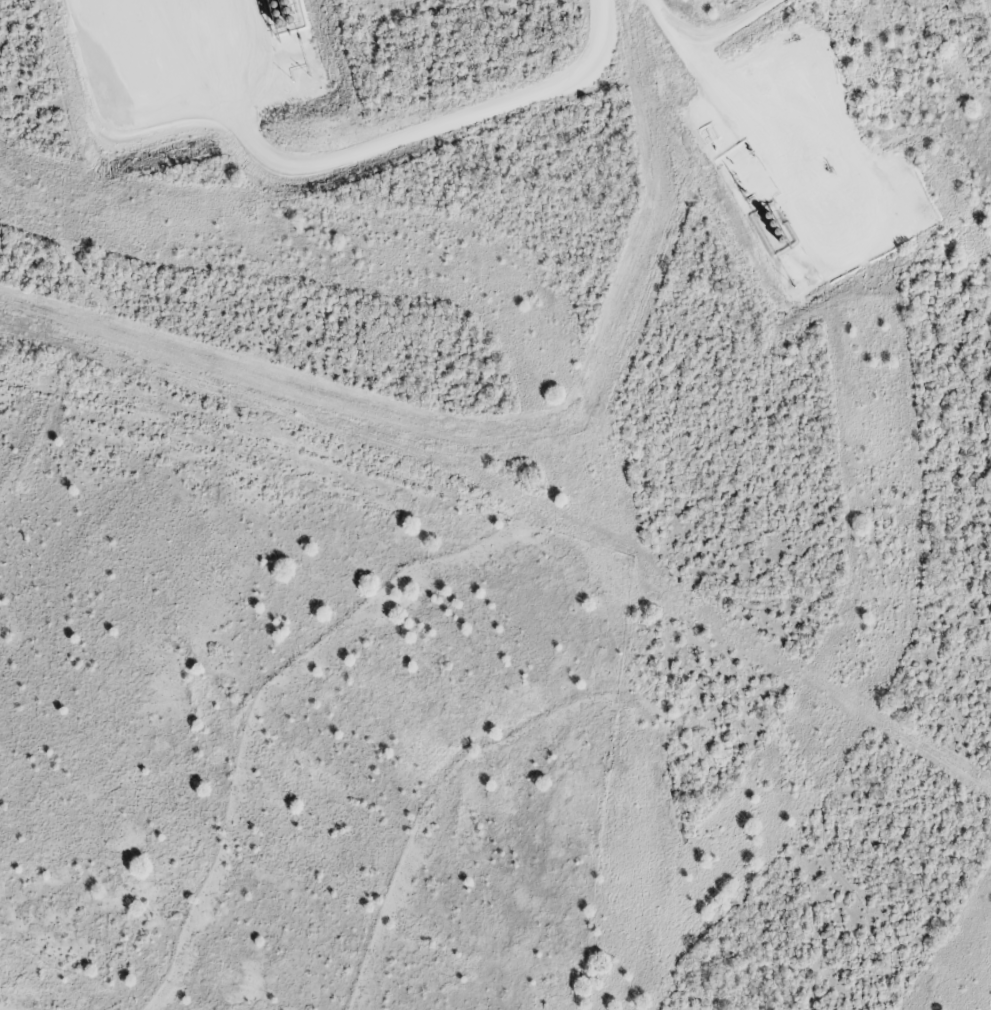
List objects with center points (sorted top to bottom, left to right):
road: (580, 556)

